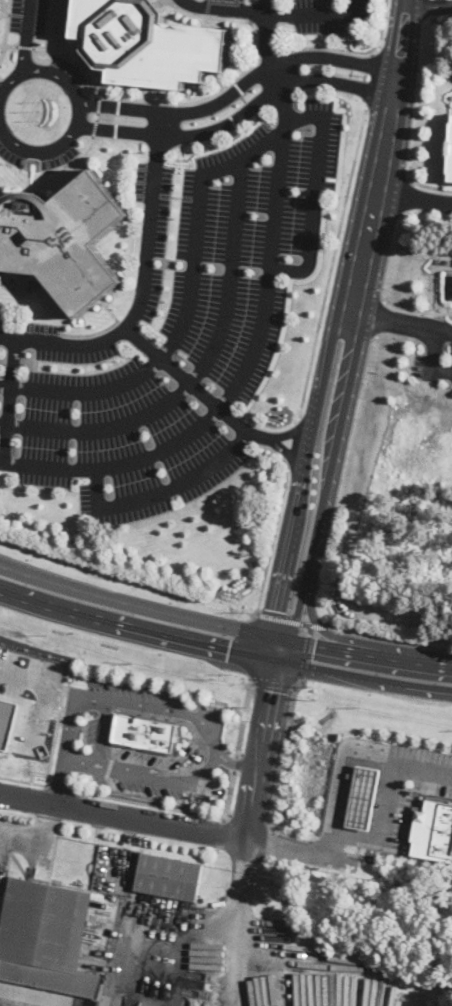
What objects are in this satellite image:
road: (428, 5)
road: (2, 8)
road: (226, 8)
parking lot: (295, 12)
road: (1, 13)
road: (318, 14)
parking lot: (27, 16)
road: (6, 22)
road: (382, 24)
road: (26, 36)
road: (37, 37)
building: (146, 43)
road: (2, 44)
road: (4, 46)
road: (24, 46)
road: (330, 47)
road: (400, 47)
road: (270, 54)
road: (274, 62)
road: (372, 76)
road: (238, 85)
road: (142, 100)
road: (78, 112)
road: (238, 115)
road: (160, 124)
road: (385, 142)
road: (241, 161)
road: (37, 164)
building: (451, 173)
road: (424, 185)
road: (276, 197)
road: (414, 198)
building: (62, 239)
road: (363, 251)
road: (332, 262)
road: (140, 298)
road: (416, 310)
road: (381, 317)
road: (391, 321)
road: (417, 326)
parking lot: (175, 328)
road: (177, 332)
road: (409, 340)
road: (431, 350)
parking lot: (435, 350)
road: (322, 385)
road: (195, 386)
road: (10, 401)
road: (273, 438)
road: (293, 443)
road: (334, 446)
road: (117, 464)
road: (303, 479)
road: (160, 488)
road: (294, 523)
road: (272, 541)
road: (52, 580)
road: (276, 605)
traffic signals: (276, 610)
road: (187, 618)
road: (283, 619)
road: (295, 622)
road: (318, 623)
road: (319, 624)
road: (137, 627)
road: (389, 639)
road: (311, 645)
road: (249, 646)
traffic signals: (314, 646)
traffic signals: (228, 649)
road: (306, 654)
road: (377, 655)
road: (421, 662)
road: (445, 665)
road: (364, 676)
road: (32, 678)
road: (274, 683)
traffic signals: (272, 690)
road: (72, 696)
road: (268, 705)
road: (193, 714)
road: (244, 715)
building: (8, 720)
road: (100, 731)
building: (145, 732)
road: (66, 737)
road: (183, 756)
road: (235, 763)
road: (280, 771)
road: (348, 772)
road: (147, 774)
road: (22, 780)
road: (58, 787)
building: (364, 796)
building: (213, 800)
road: (171, 807)
road: (387, 808)
road: (167, 825)
building: (432, 829)
road: (30, 830)
road: (298, 849)
building: (169, 877)
road: (241, 922)
building: (276, 925)
road: (152, 933)
building: (46, 939)

